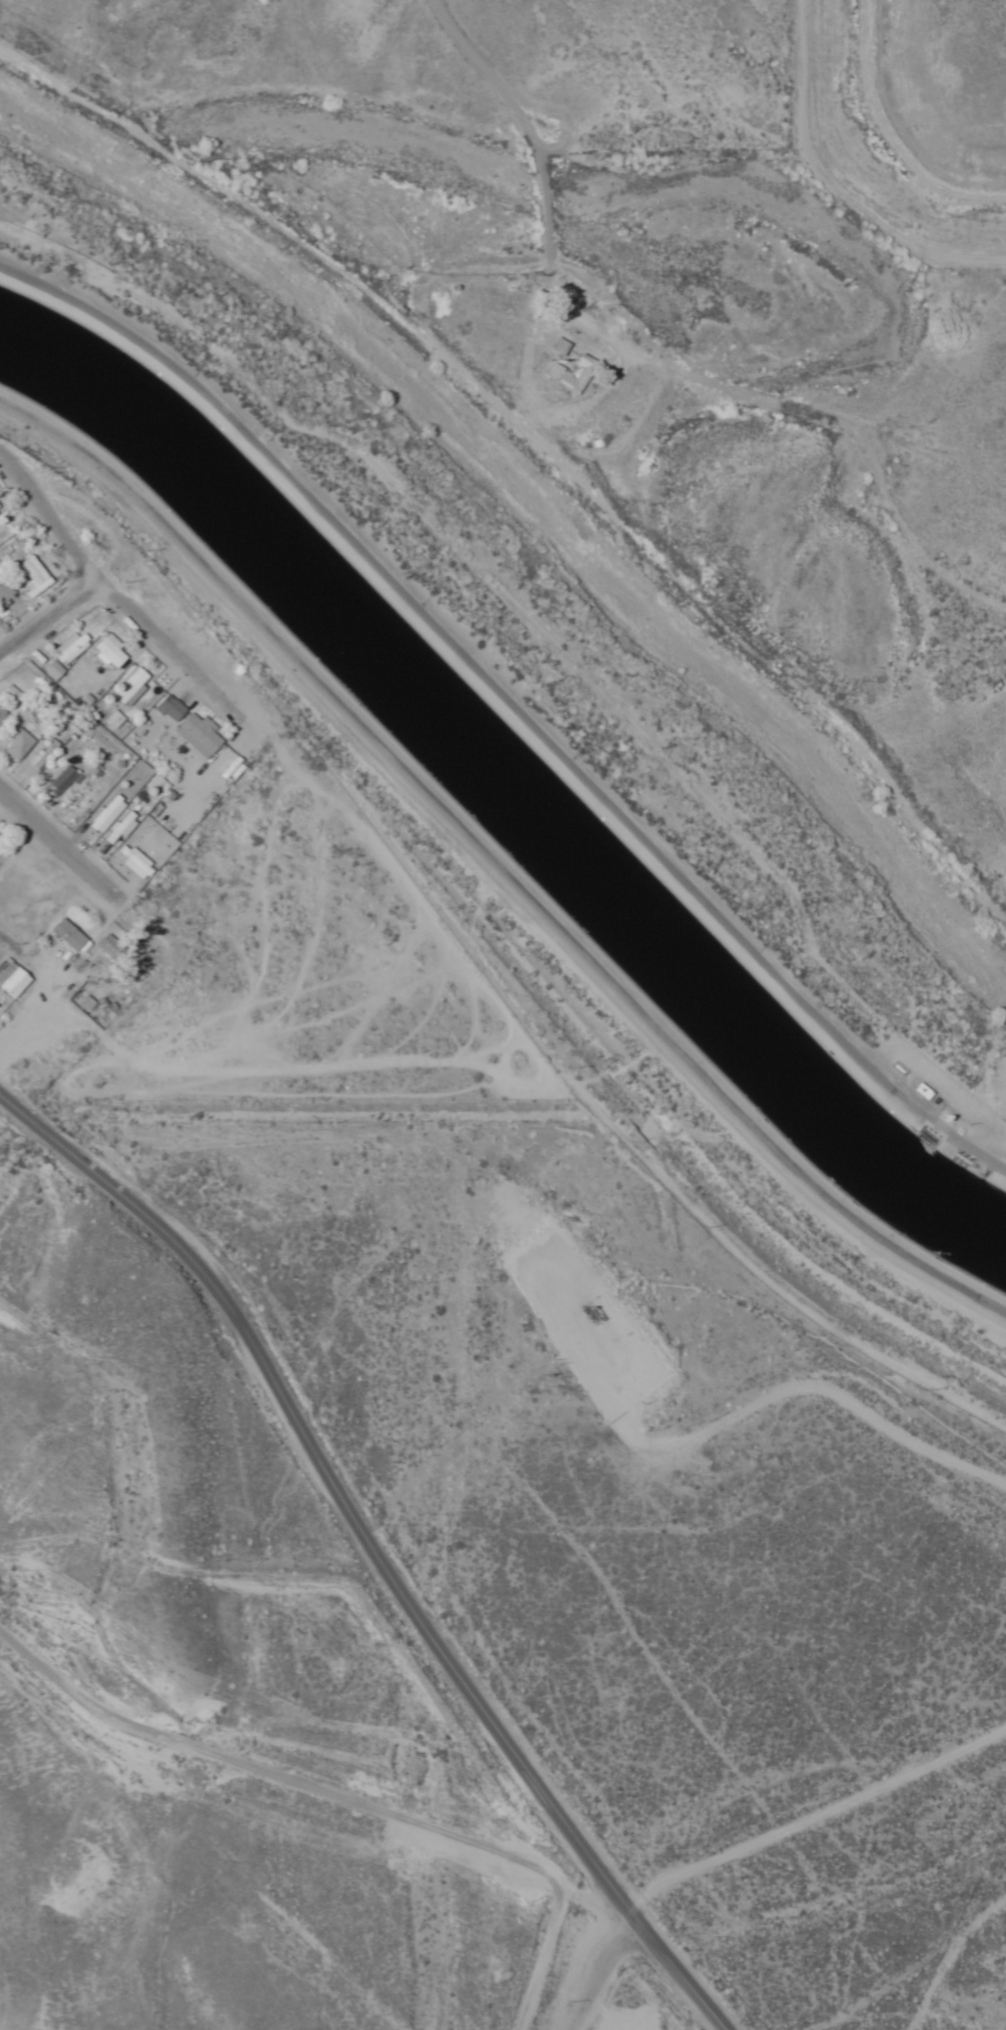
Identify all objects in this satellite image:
crop: (909, 128)
building: (556, 346)
road: (643, 358)
building: (571, 374)
building: (3, 497)
building: (30, 576)
road: (114, 593)
road: (50, 615)
building: (106, 650)
building: (50, 669)
building: (125, 684)
road: (510, 704)
building: (163, 705)
building: (1, 716)
building: (14, 744)
building: (59, 779)
building: (108, 809)
road: (62, 842)
road: (496, 874)
building: (64, 935)
building: (108, 947)
building: (83, 1004)
road: (371, 1548)
road: (341, 1806)
road: (813, 1816)
road: (597, 1972)
road: (962, 1978)

